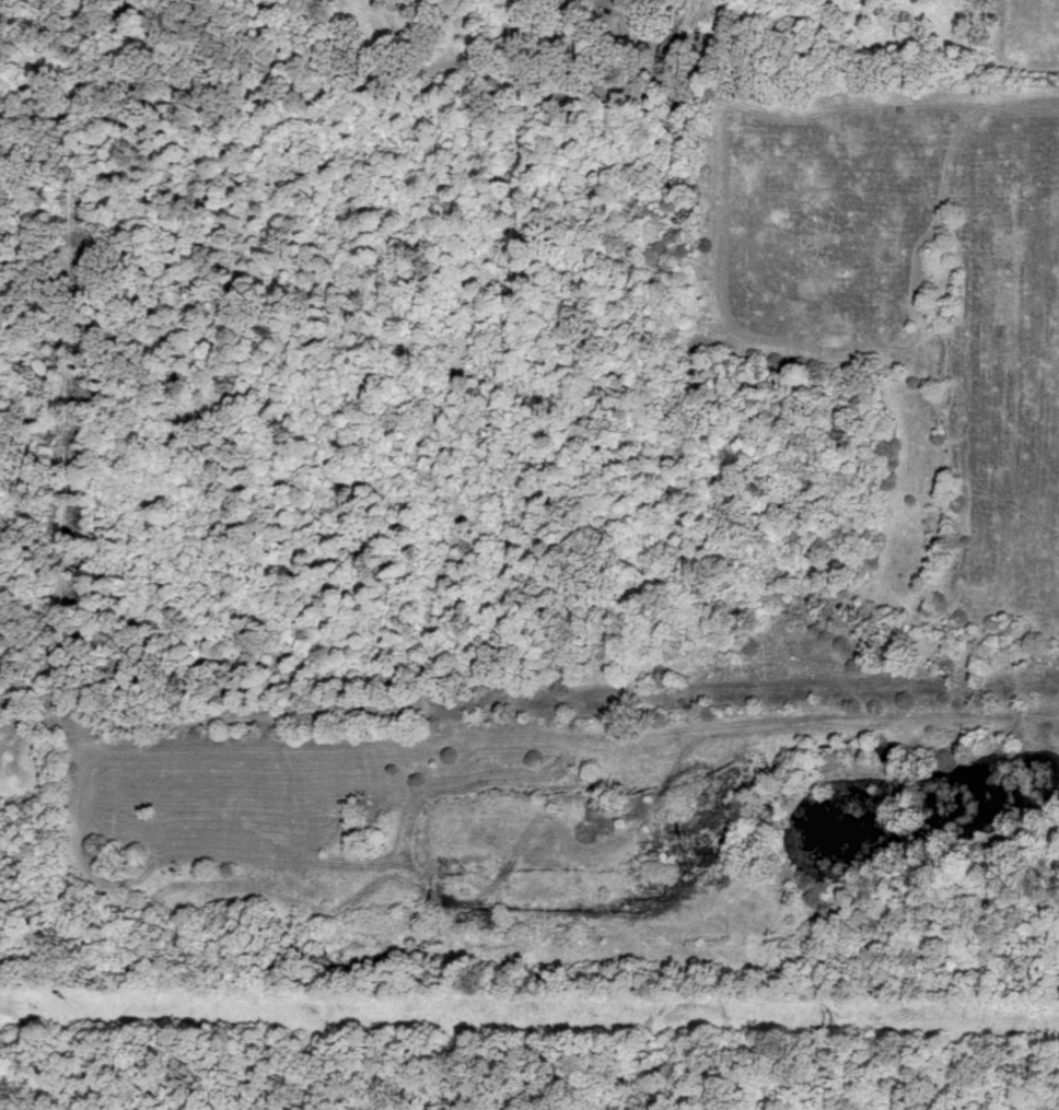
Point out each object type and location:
building: (578, 14)
road: (629, 21)

